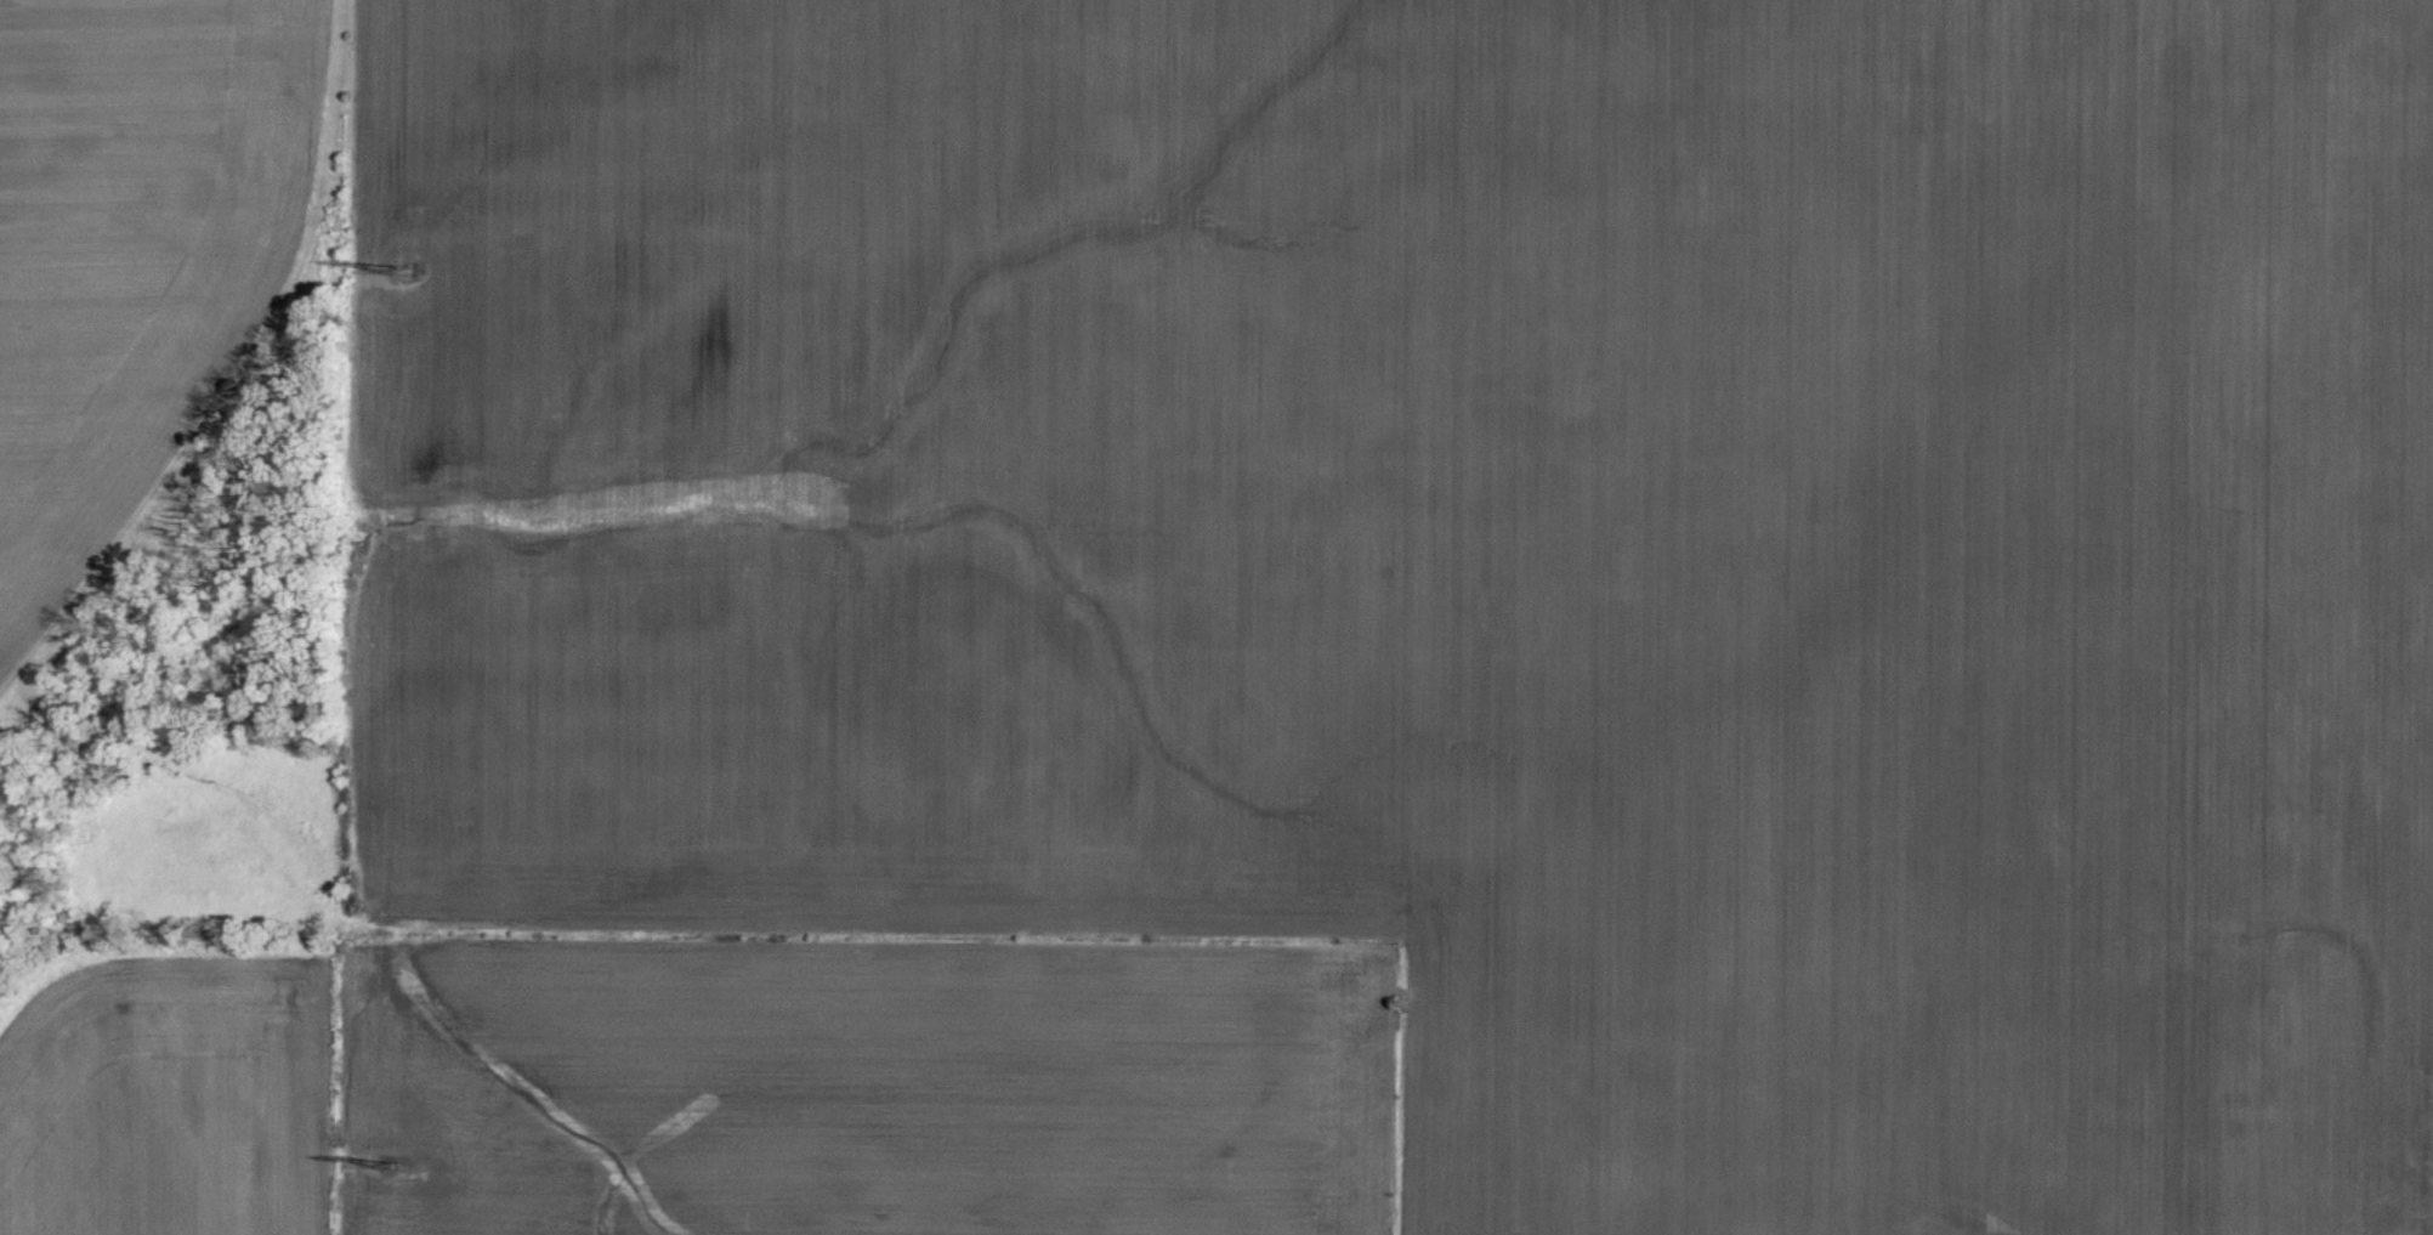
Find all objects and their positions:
power tower: (408, 274)
power tower: (397, 1167)

